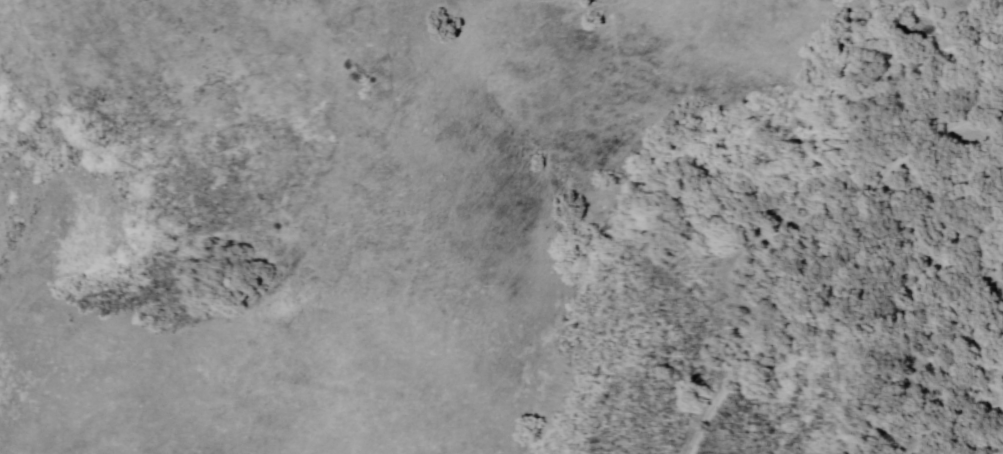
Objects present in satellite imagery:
road: (778, 235)
road: (950, 419)

